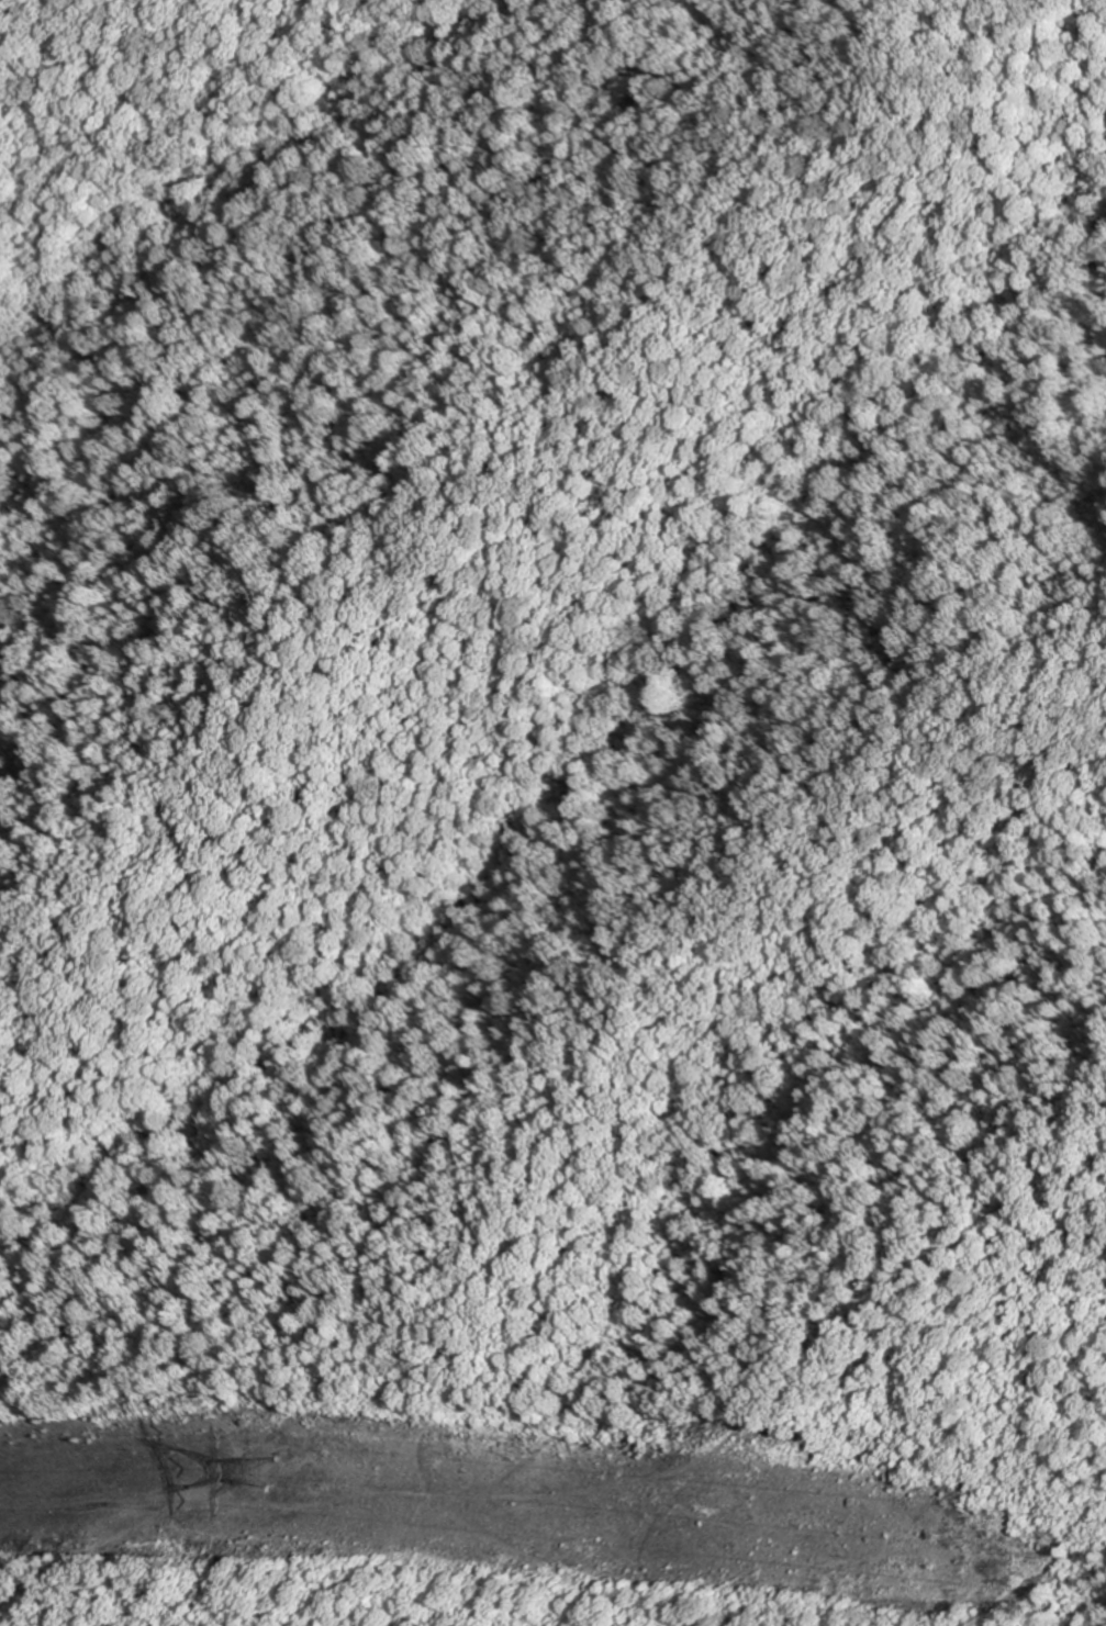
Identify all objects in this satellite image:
power tower: (231, 1472)

